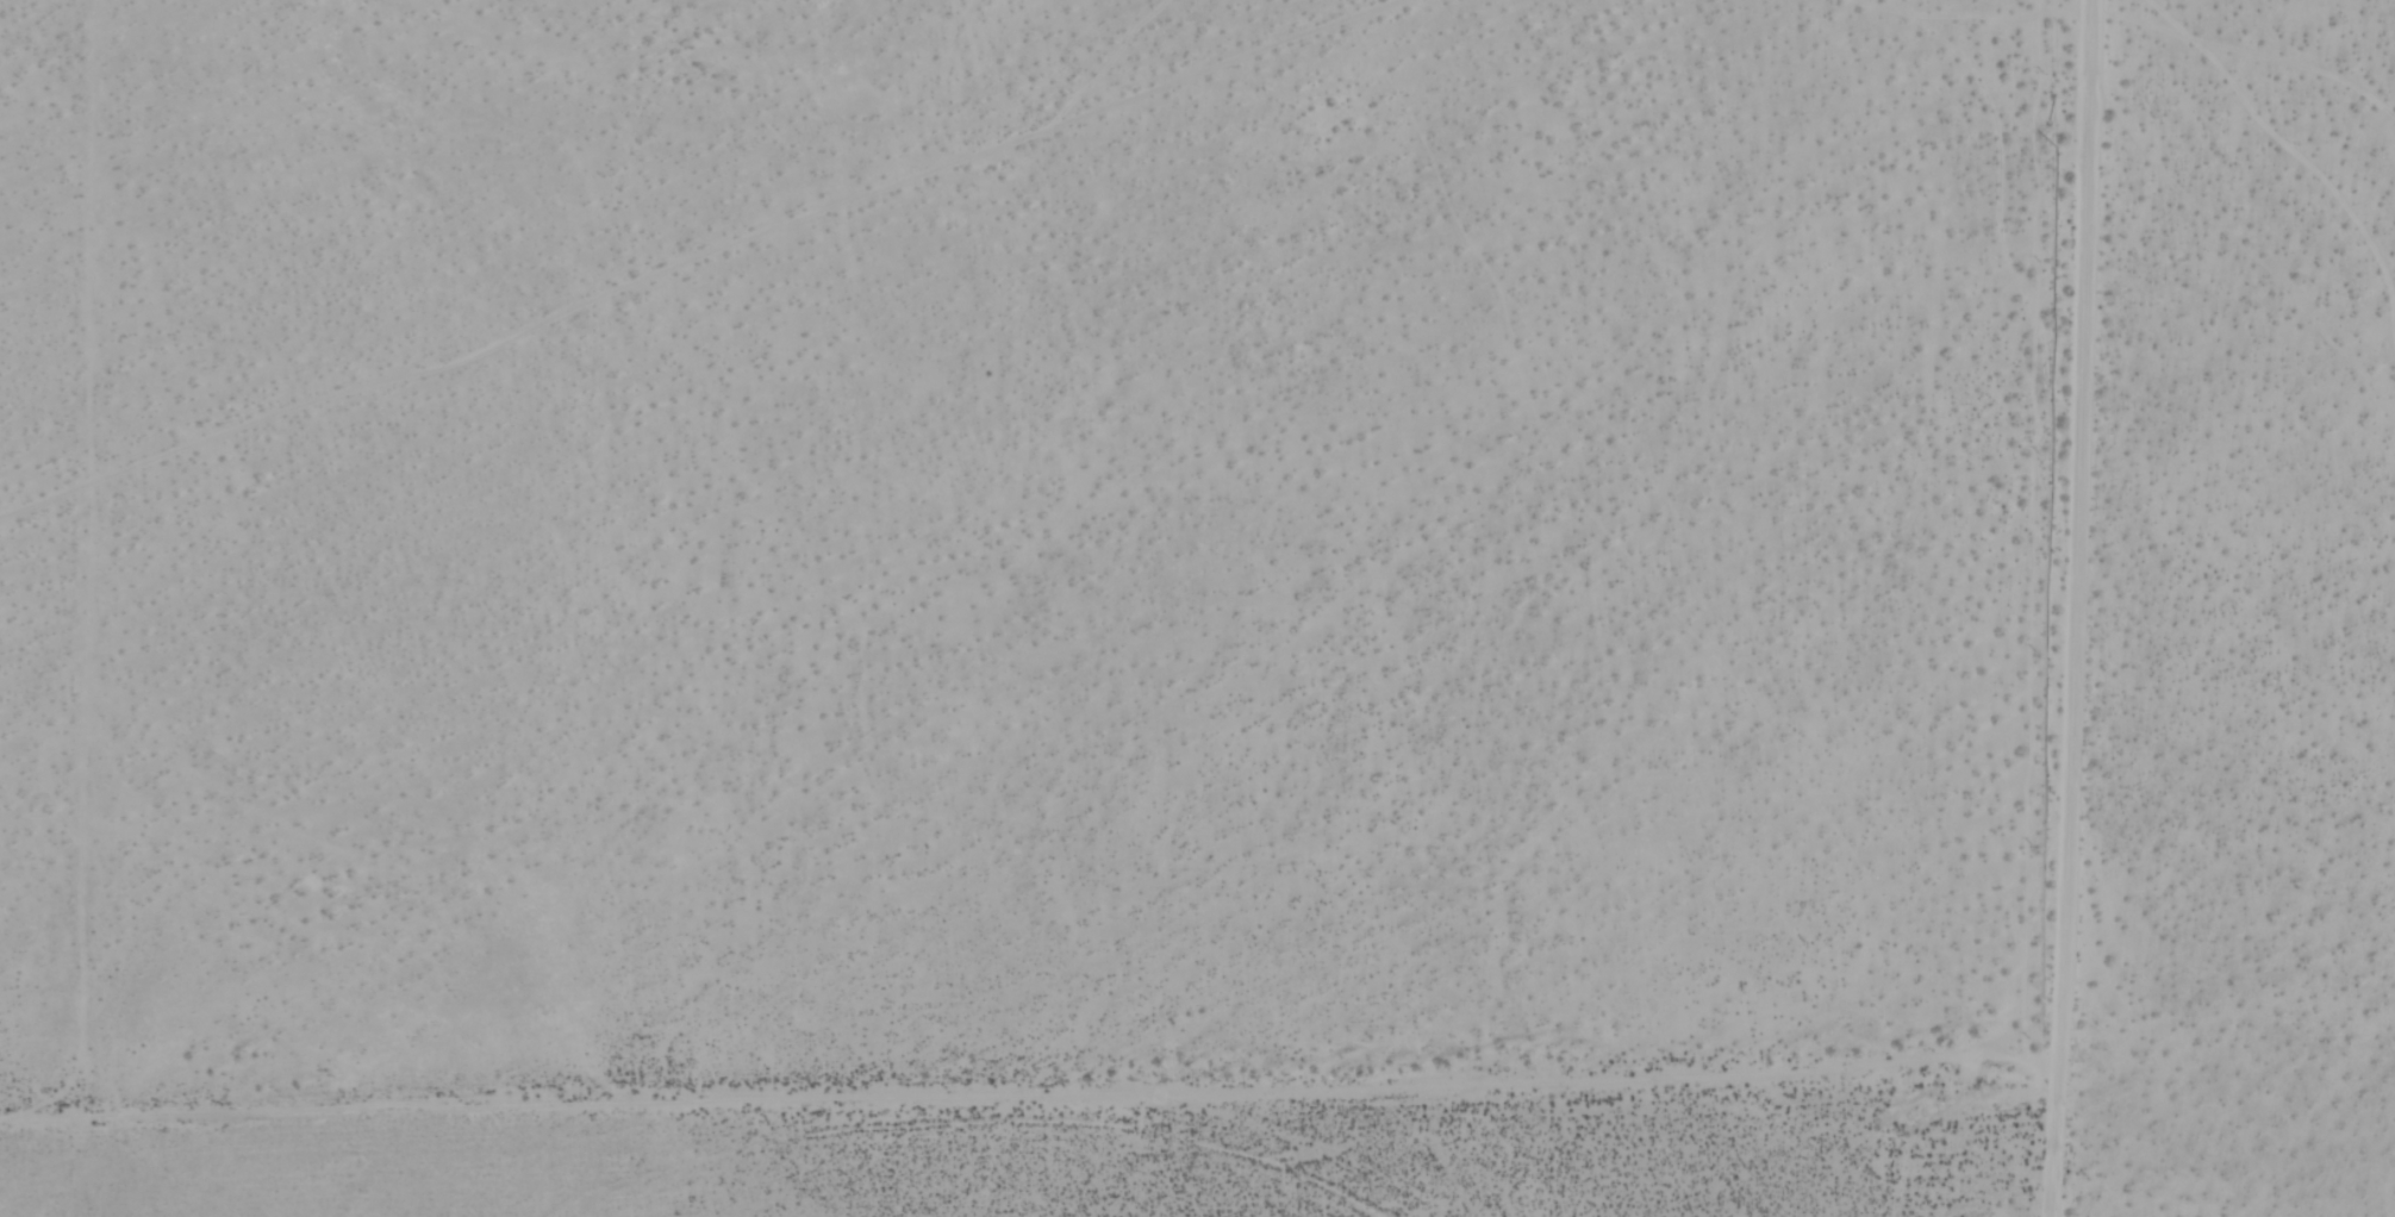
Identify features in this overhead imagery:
road: (2027, 162)
road: (2044, 770)

